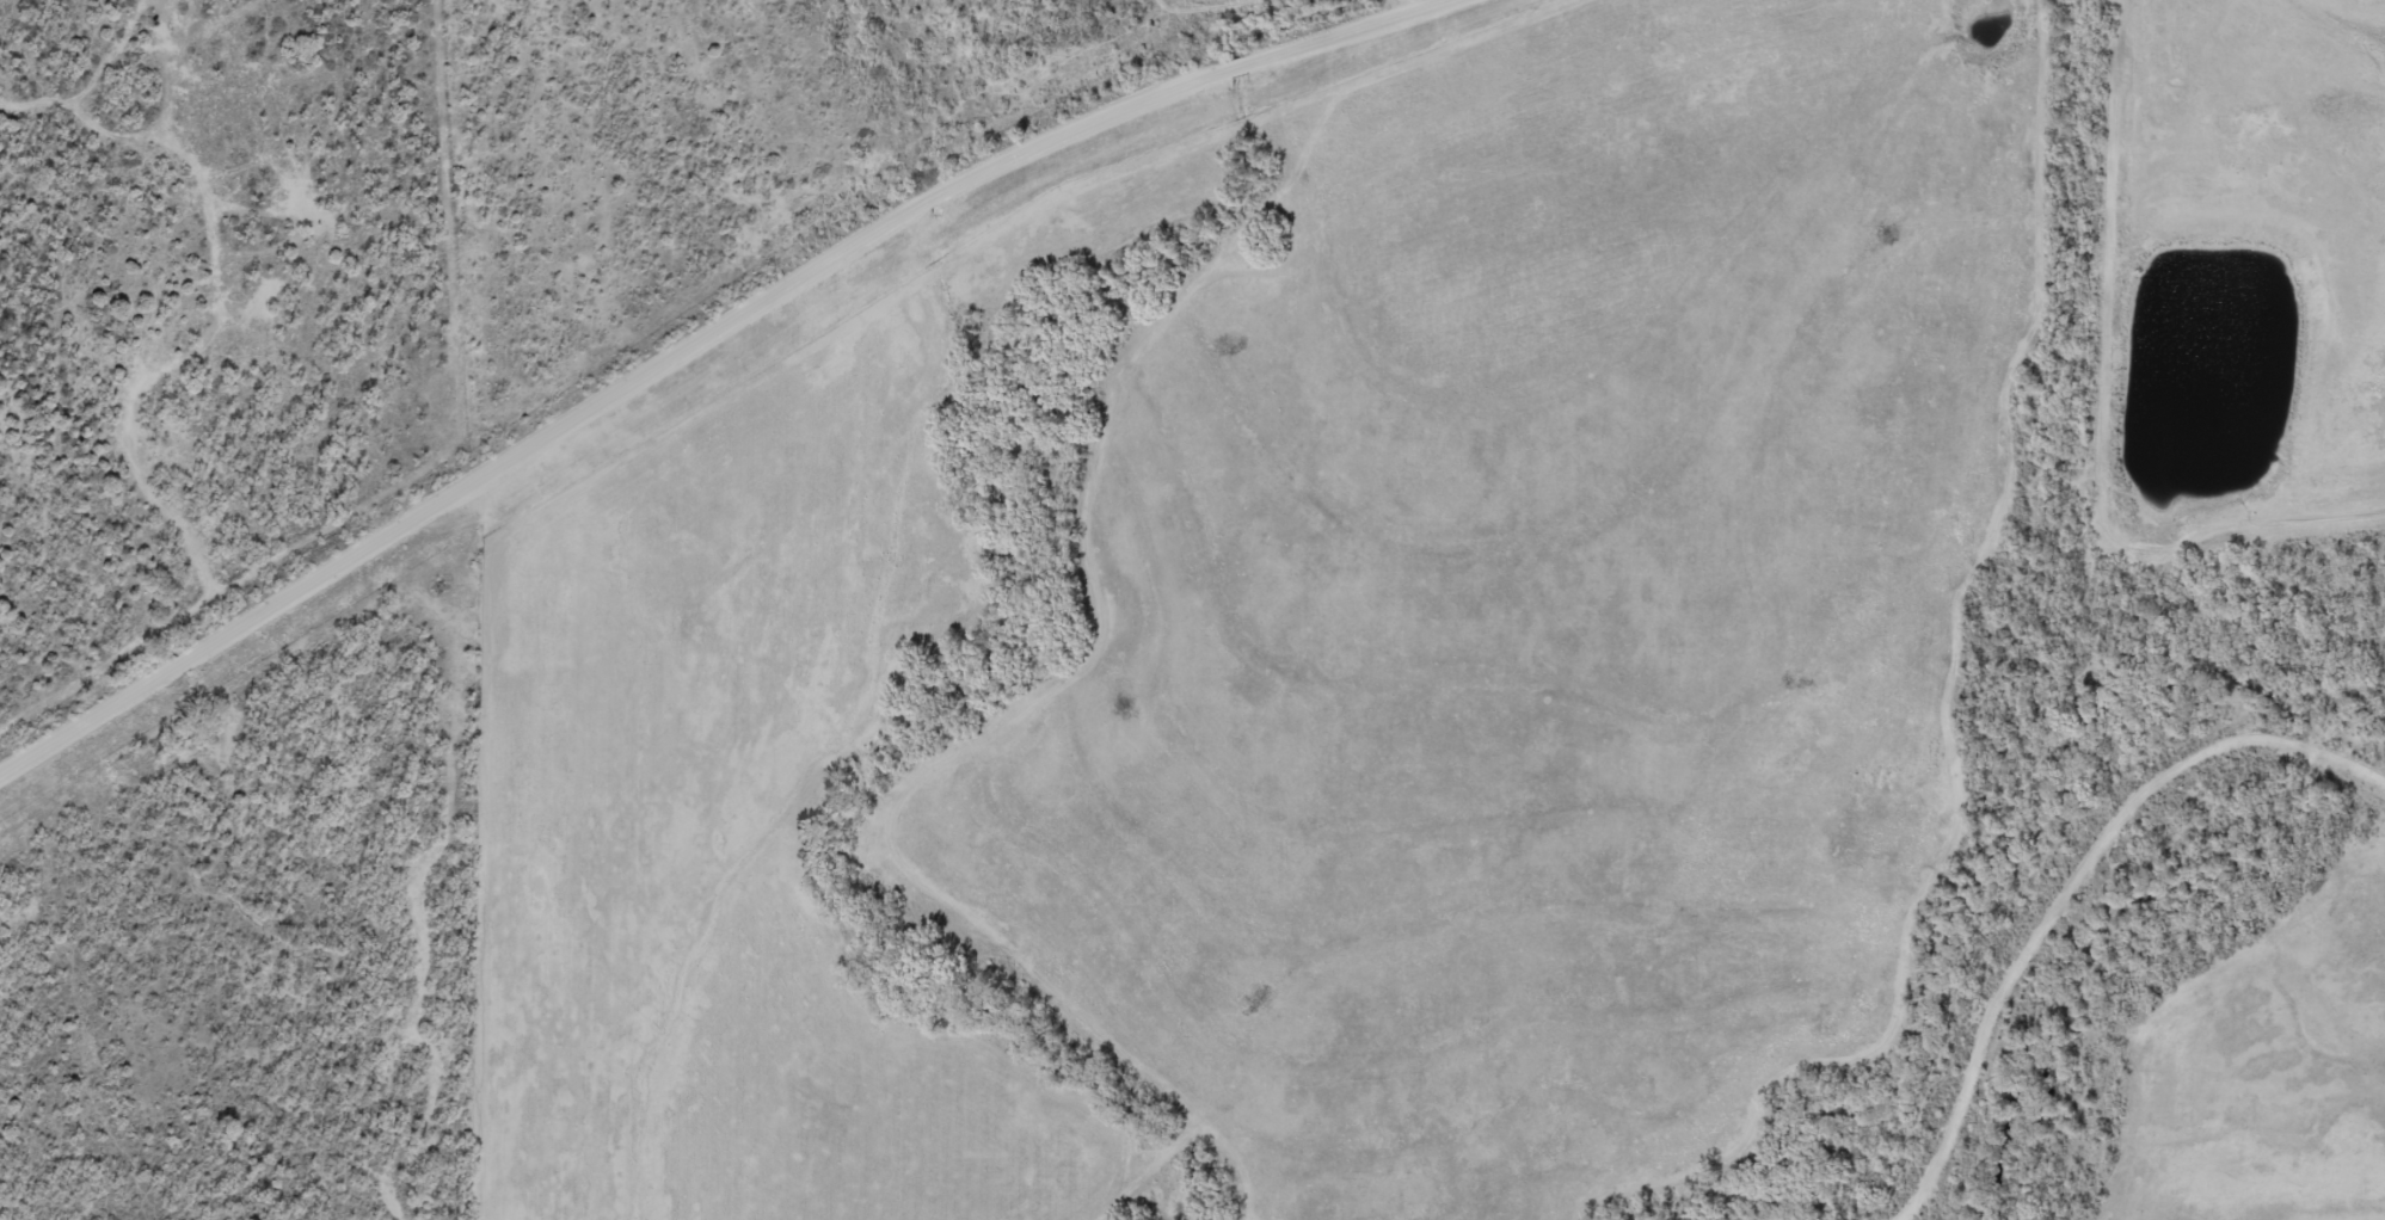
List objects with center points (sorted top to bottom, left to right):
road: (703, 347)
road: (2115, 937)

